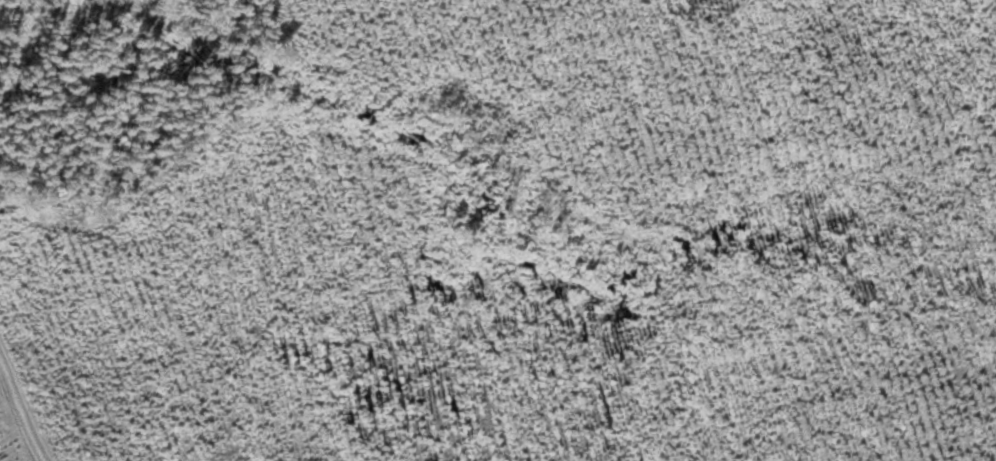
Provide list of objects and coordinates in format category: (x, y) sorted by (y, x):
road: (14, 438)

